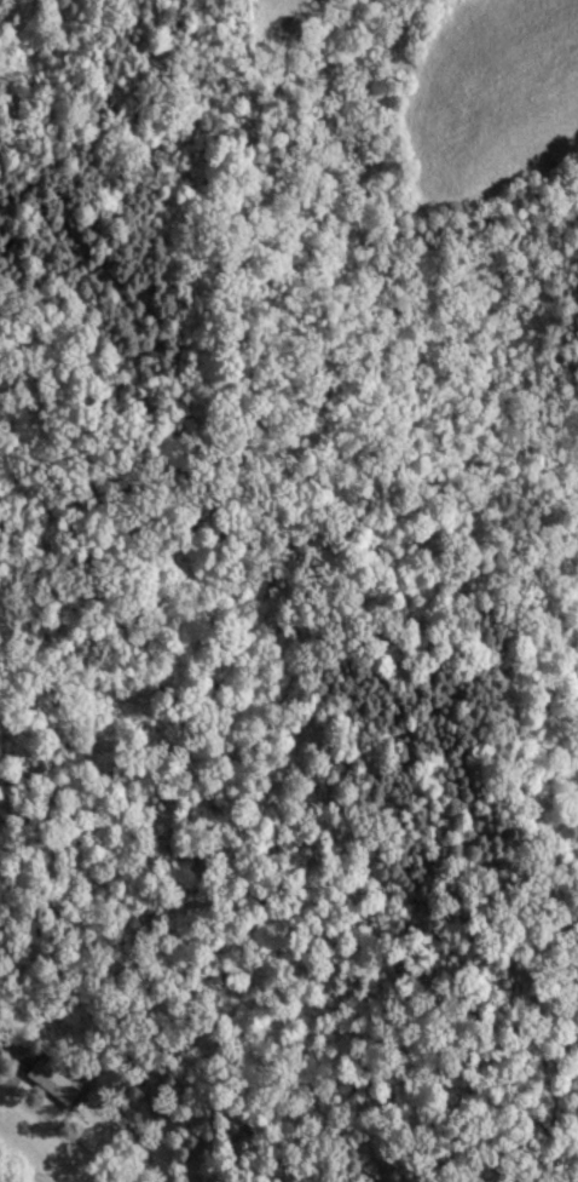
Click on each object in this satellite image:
building: (56, 1083)

